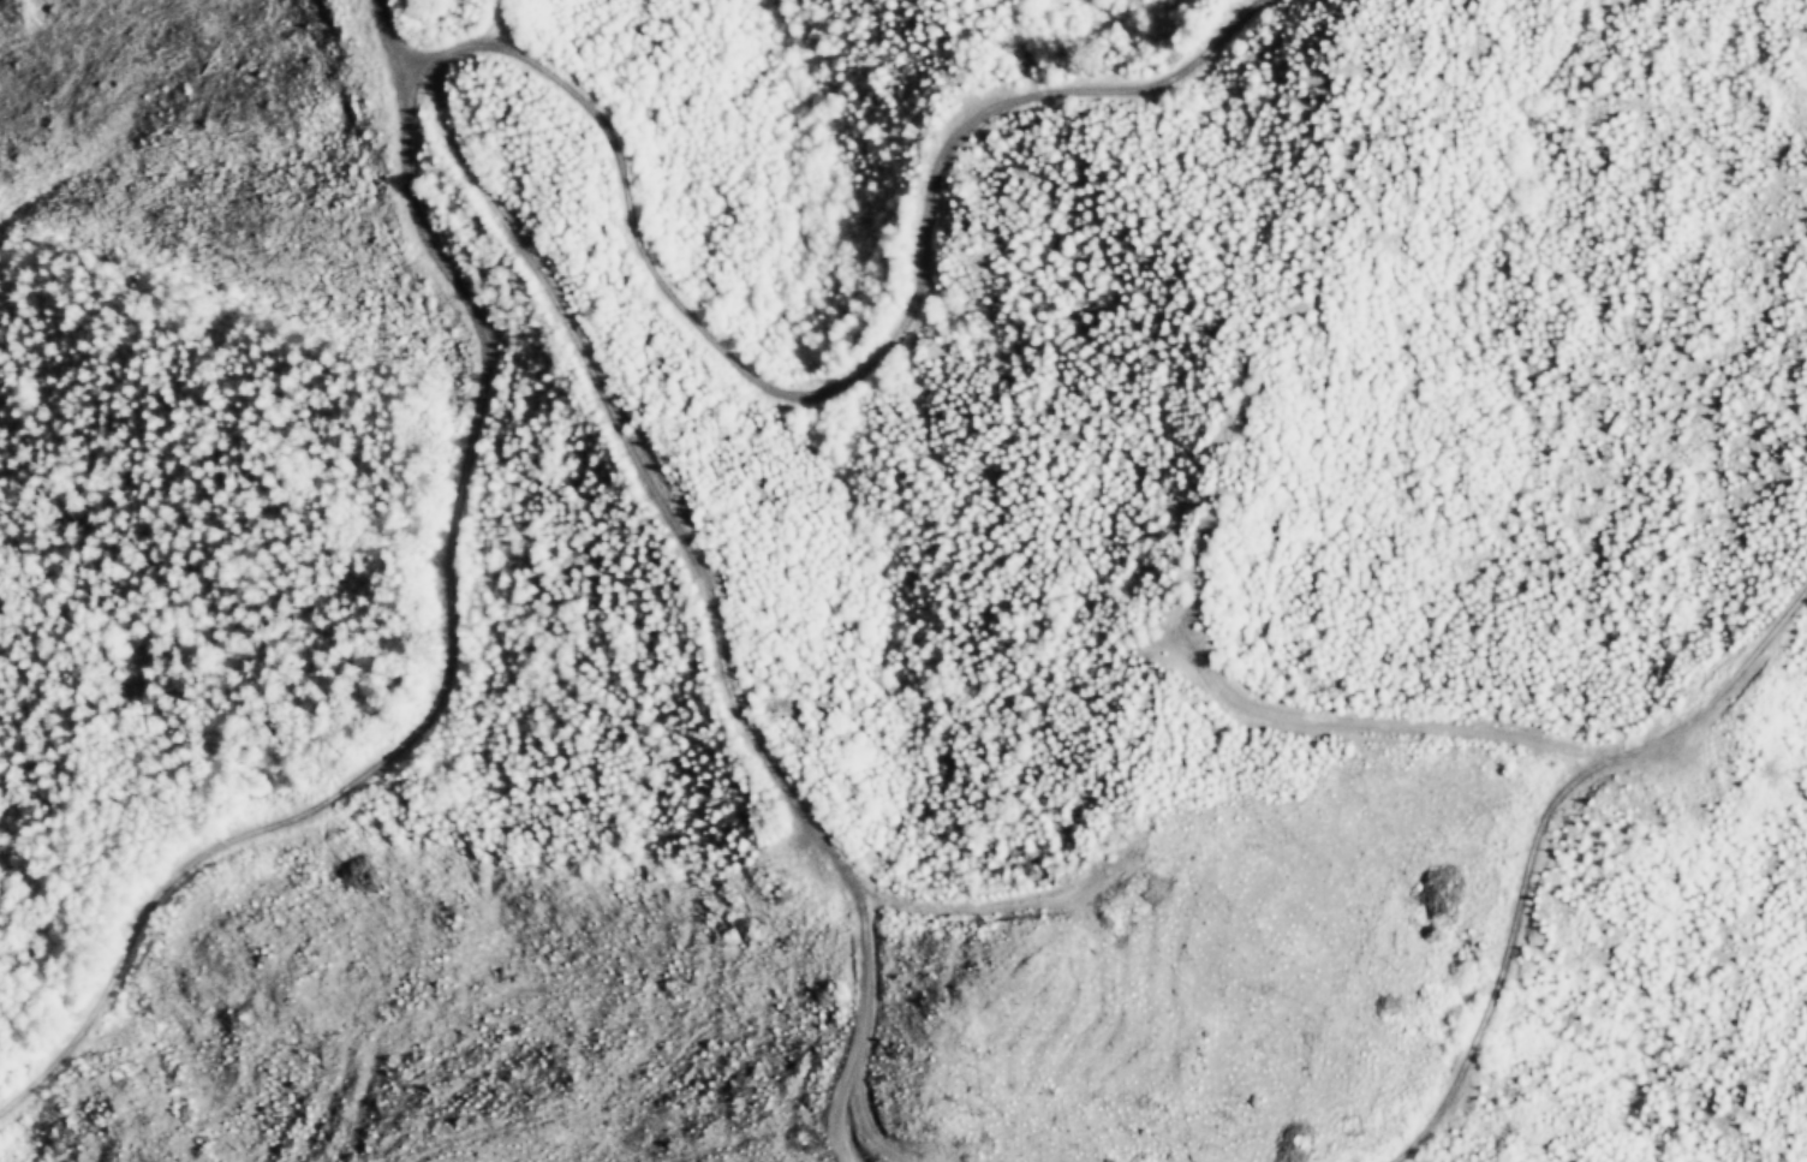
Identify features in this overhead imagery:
road: (413, 72)
road: (692, 556)
road: (1250, 707)
road: (1538, 830)
road: (848, 1027)

